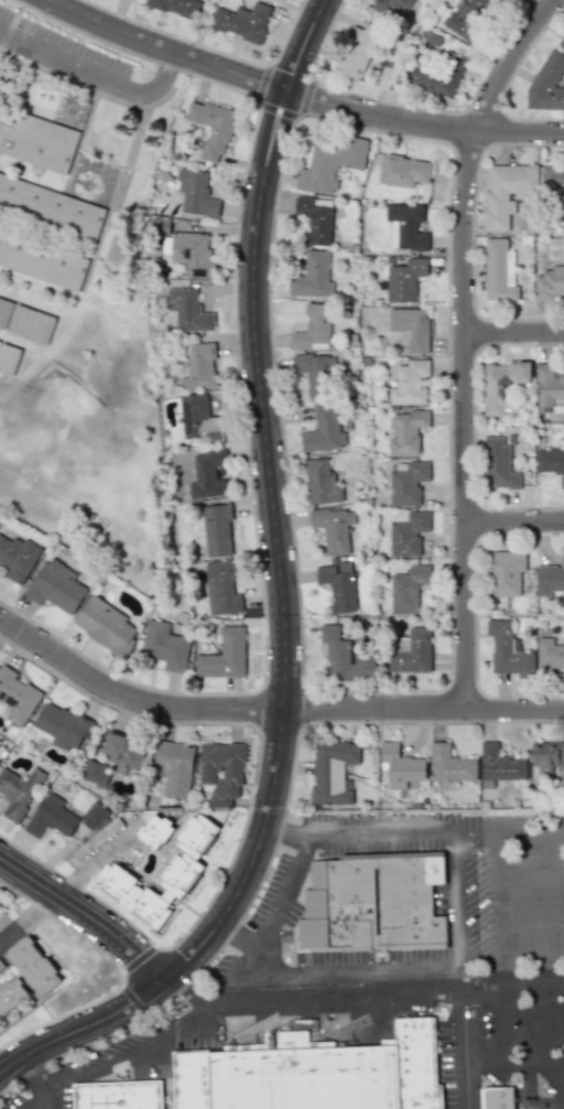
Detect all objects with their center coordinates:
street lamp: (296, 4)
building: (176, 7)
building: (390, 8)
building: (465, 17)
building: (242, 21)
building: (562, 36)
building: (356, 51)
road: (94, 71)
building: (435, 75)
road: (257, 79)
building: (546, 84)
building: (211, 128)
road: (519, 130)
building: (36, 141)
building: (329, 162)
building: (402, 171)
building: (553, 179)
building: (507, 192)
building: (195, 193)
building: (50, 206)
building: (316, 218)
building: (406, 226)
building: (116, 248)
building: (192, 252)
building: (42, 260)
building: (312, 276)
building: (405, 279)
building: (550, 283)
building: (189, 310)
building: (25, 319)
building: (411, 326)
building: (314, 327)
road: (512, 331)
road: (460, 342)
building: (9, 355)
building: (198, 367)
building: (316, 374)
building: (409, 383)
building: (501, 385)
building: (549, 385)
building: (202, 417)
building: (324, 430)
building: (406, 431)
building: (552, 461)
park: (90, 462)
building: (498, 463)
building: (208, 474)
building: (321, 483)
building: (408, 483)
road: (512, 518)
building: (334, 528)
building: (217, 530)
building: (406, 532)
building: (17, 558)
building: (506, 572)
building: (550, 579)
building: (56, 585)
building: (338, 585)
building: (221, 589)
building: (408, 589)
road: (285, 596)
building: (105, 625)
building: (165, 646)
building: (508, 650)
building: (412, 652)
building: (226, 653)
building: (550, 655)
building: (345, 656)
building: (15, 697)
road: (513, 707)
road: (219, 709)
building: (63, 725)
building: (123, 753)
building: (451, 764)
building: (499, 764)
building: (399, 766)
building: (174, 767)
building: (221, 771)
building: (94, 772)
building: (332, 772)
building: (18, 792)
building: (94, 814)
building: (51, 817)
building: (155, 831)
road: (88, 863)
building: (183, 871)
building: (373, 902)
road: (273, 904)
road: (87, 914)
road: (29, 918)
building: (2, 922)
road: (464, 937)
building: (34, 965)
road: (458, 981)
road: (512, 992)
building: (11, 993)
road: (386, 1001)
road: (541, 1026)
road: (499, 1030)
parking lot: (525, 1037)
road: (130, 1047)
road: (553, 1063)
road: (532, 1064)
road: (492, 1065)
building: (315, 1073)
road: (39, 1083)
building: (120, 1096)
parking lot: (39, 1098)
building: (495, 1098)
road: (528, 1100)

